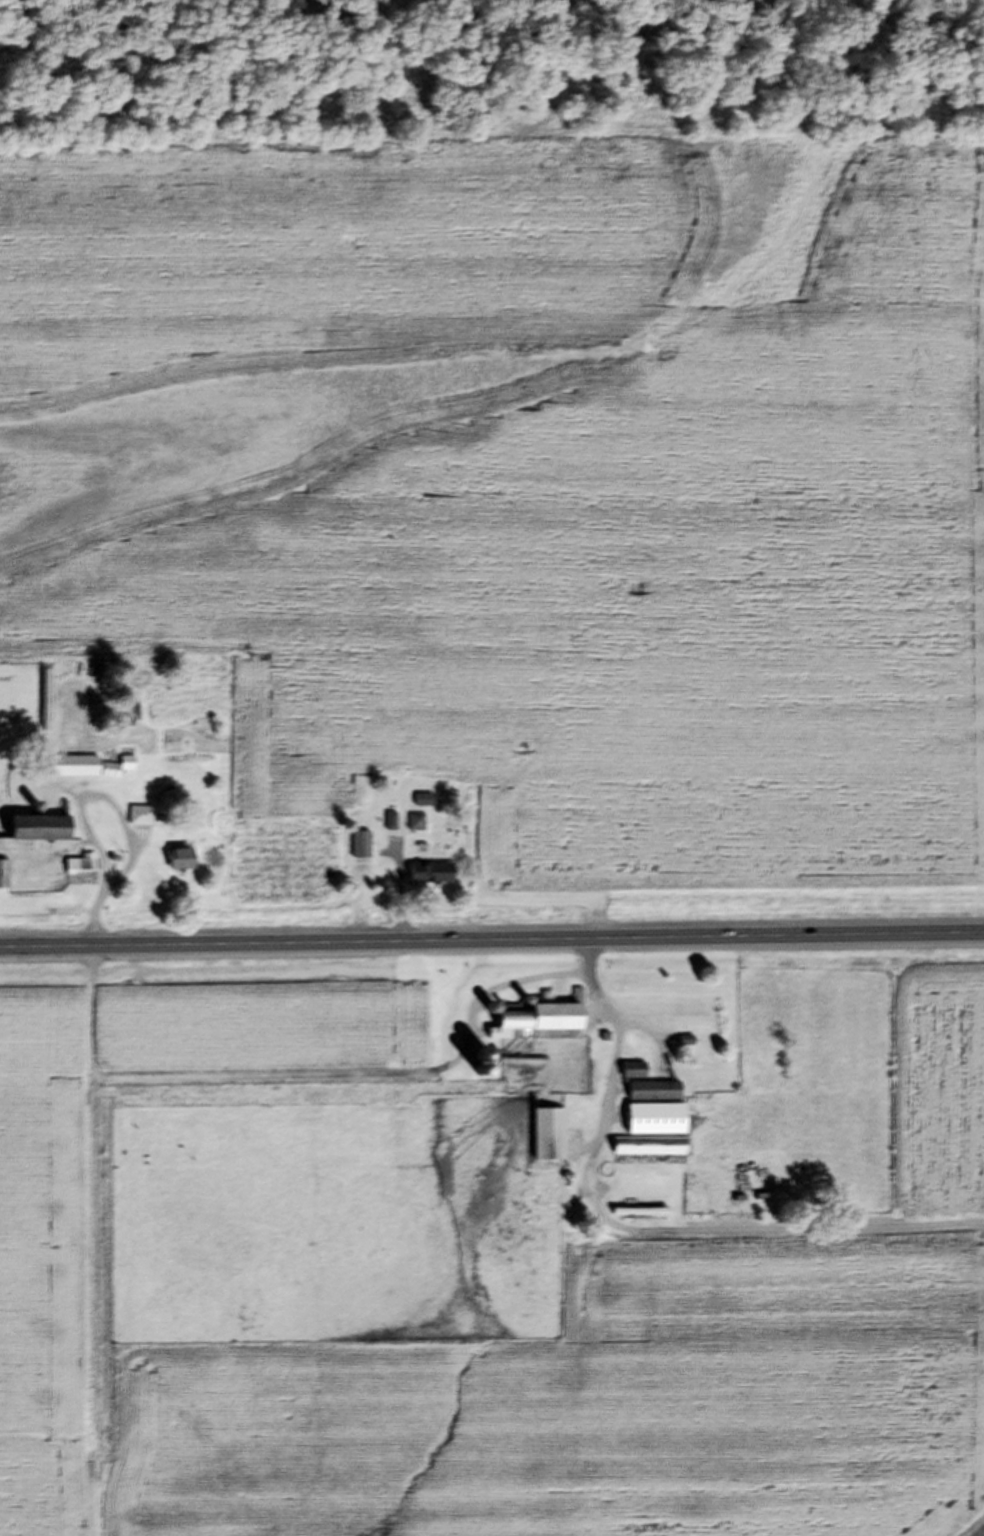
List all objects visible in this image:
building: (85, 772)
building: (142, 822)
building: (414, 827)
building: (30, 836)
building: (359, 850)
building: (178, 865)
building: (77, 870)
building: (428, 878)
building: (2, 879)
road: (492, 943)
building: (679, 1012)
building: (534, 1027)
building: (631, 1075)
building: (651, 1096)
building: (650, 1136)
building: (546, 1139)
road: (643, 1237)

